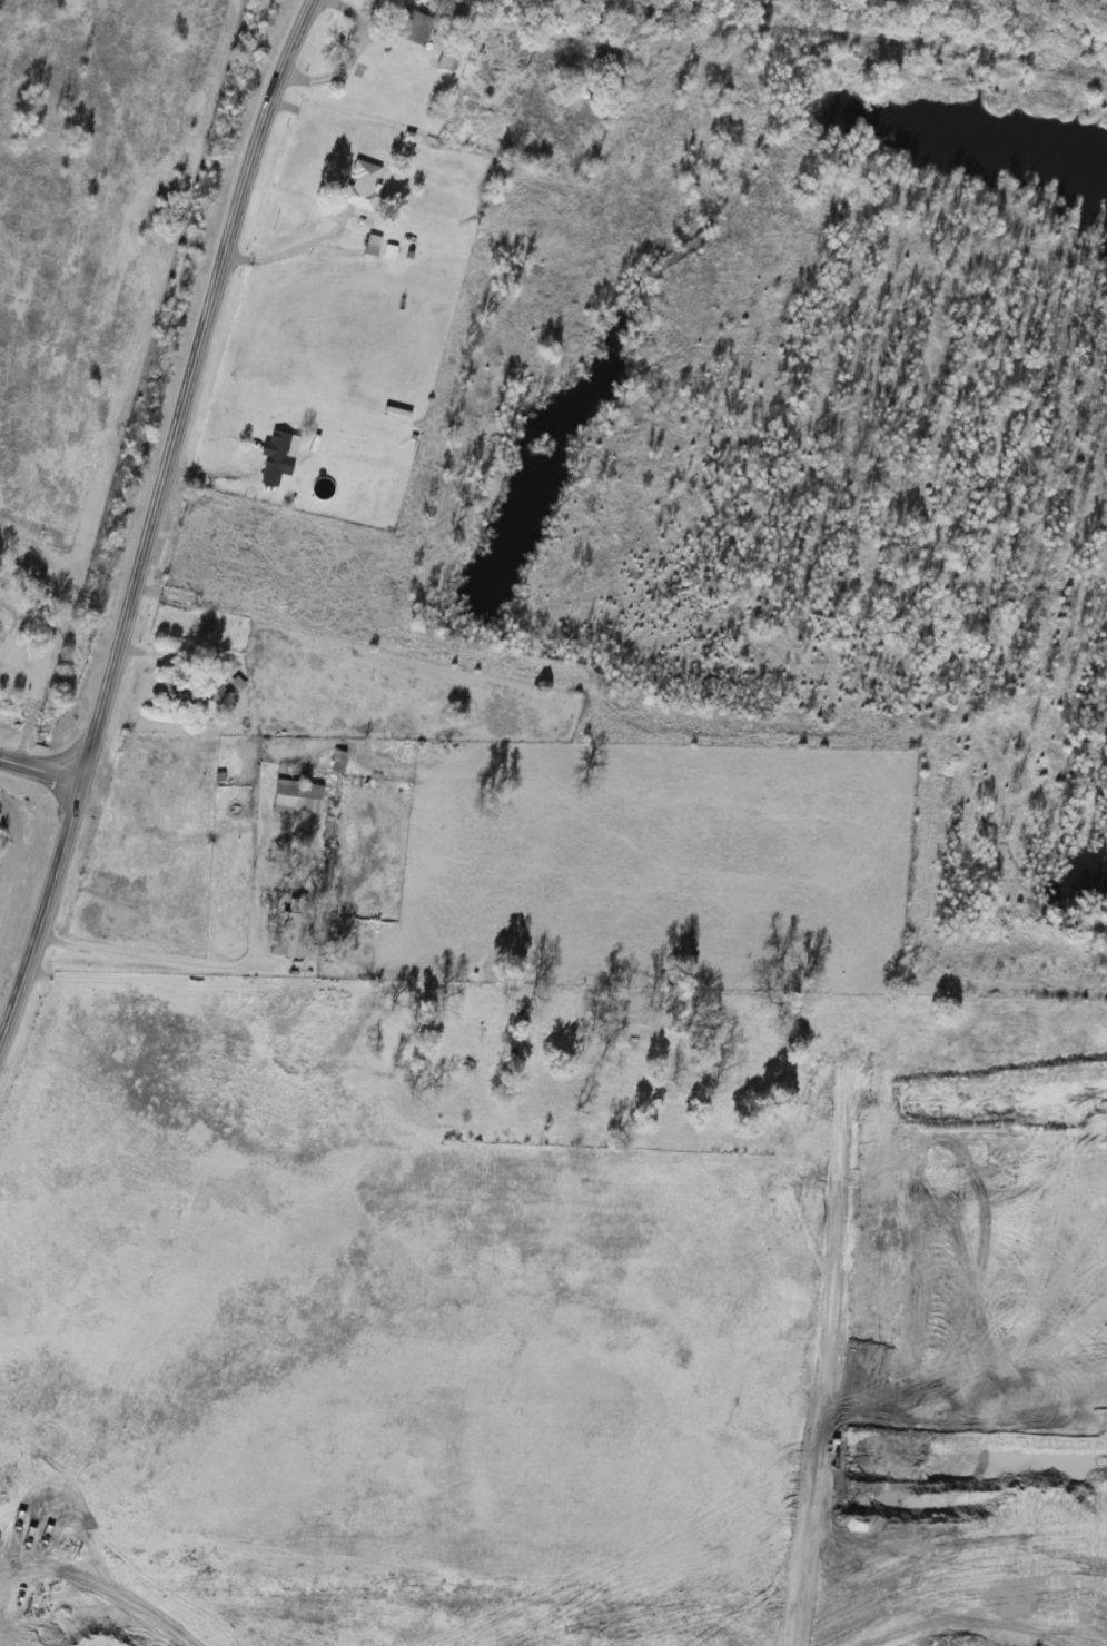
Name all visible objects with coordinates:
building: (407, 28)
building: (605, 49)
building: (444, 63)
building: (357, 185)
building: (368, 246)
road: (280, 252)
building: (386, 252)
road: (186, 386)
building: (277, 454)
building: (207, 694)
road: (37, 767)
building: (299, 799)
road: (37, 892)
road: (138, 959)

